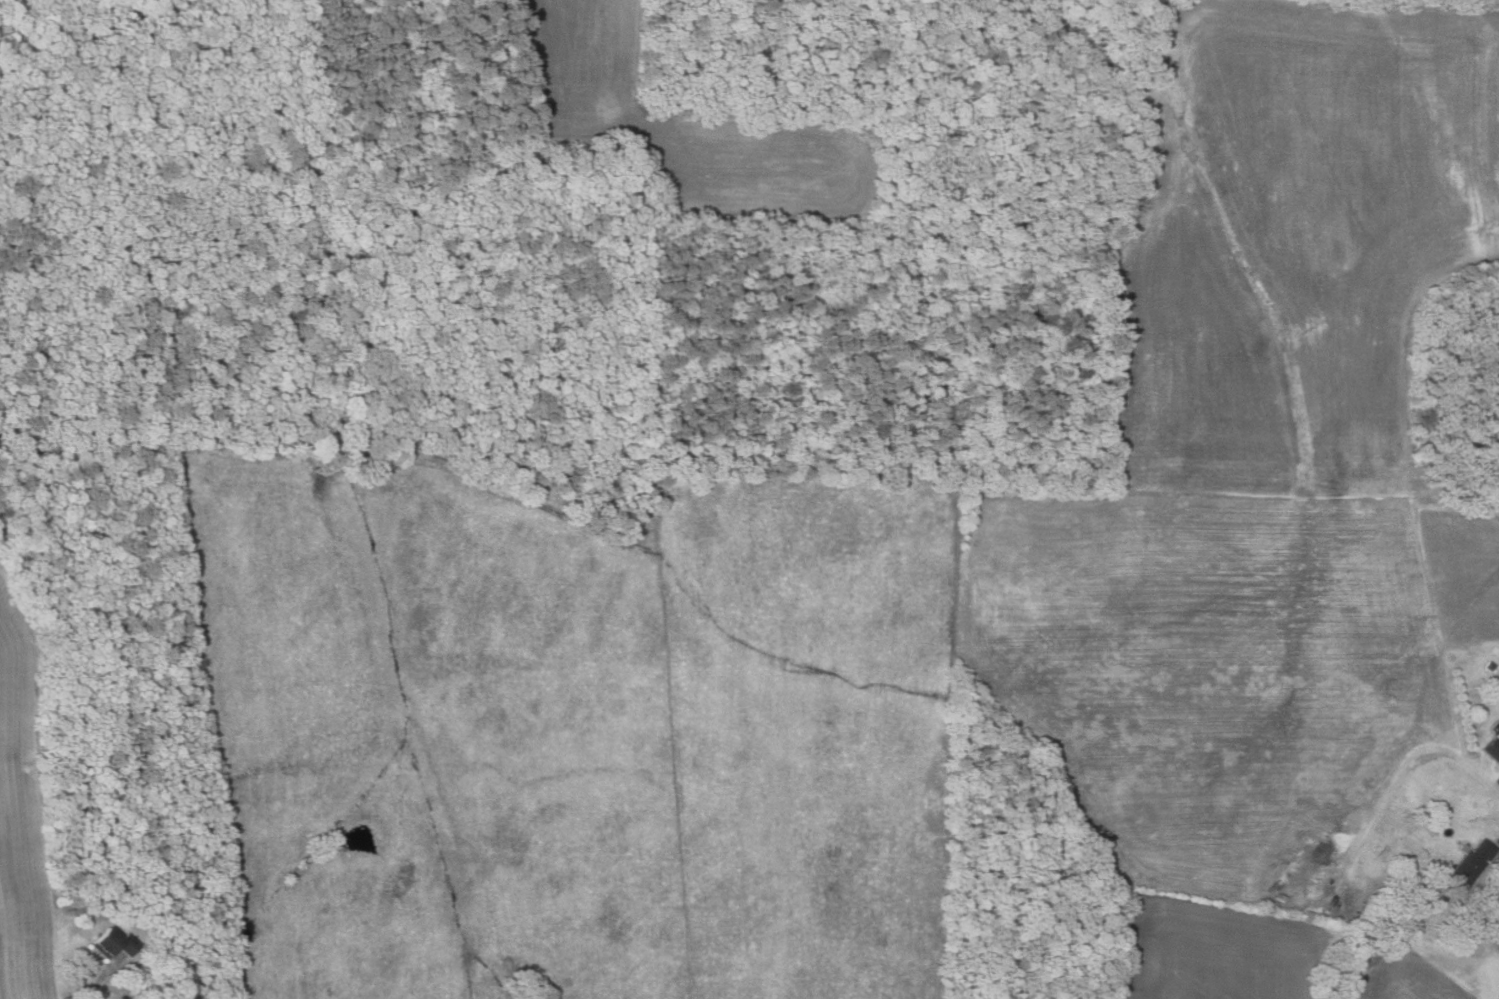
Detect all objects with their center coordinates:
crop: (688, 129)
crop: (1261, 466)
building: (1490, 666)
building: (1498, 734)
building: (1492, 750)
crop: (21, 809)
building: (1470, 864)
building: (113, 943)
crop: (1209, 953)
crop: (1403, 978)

